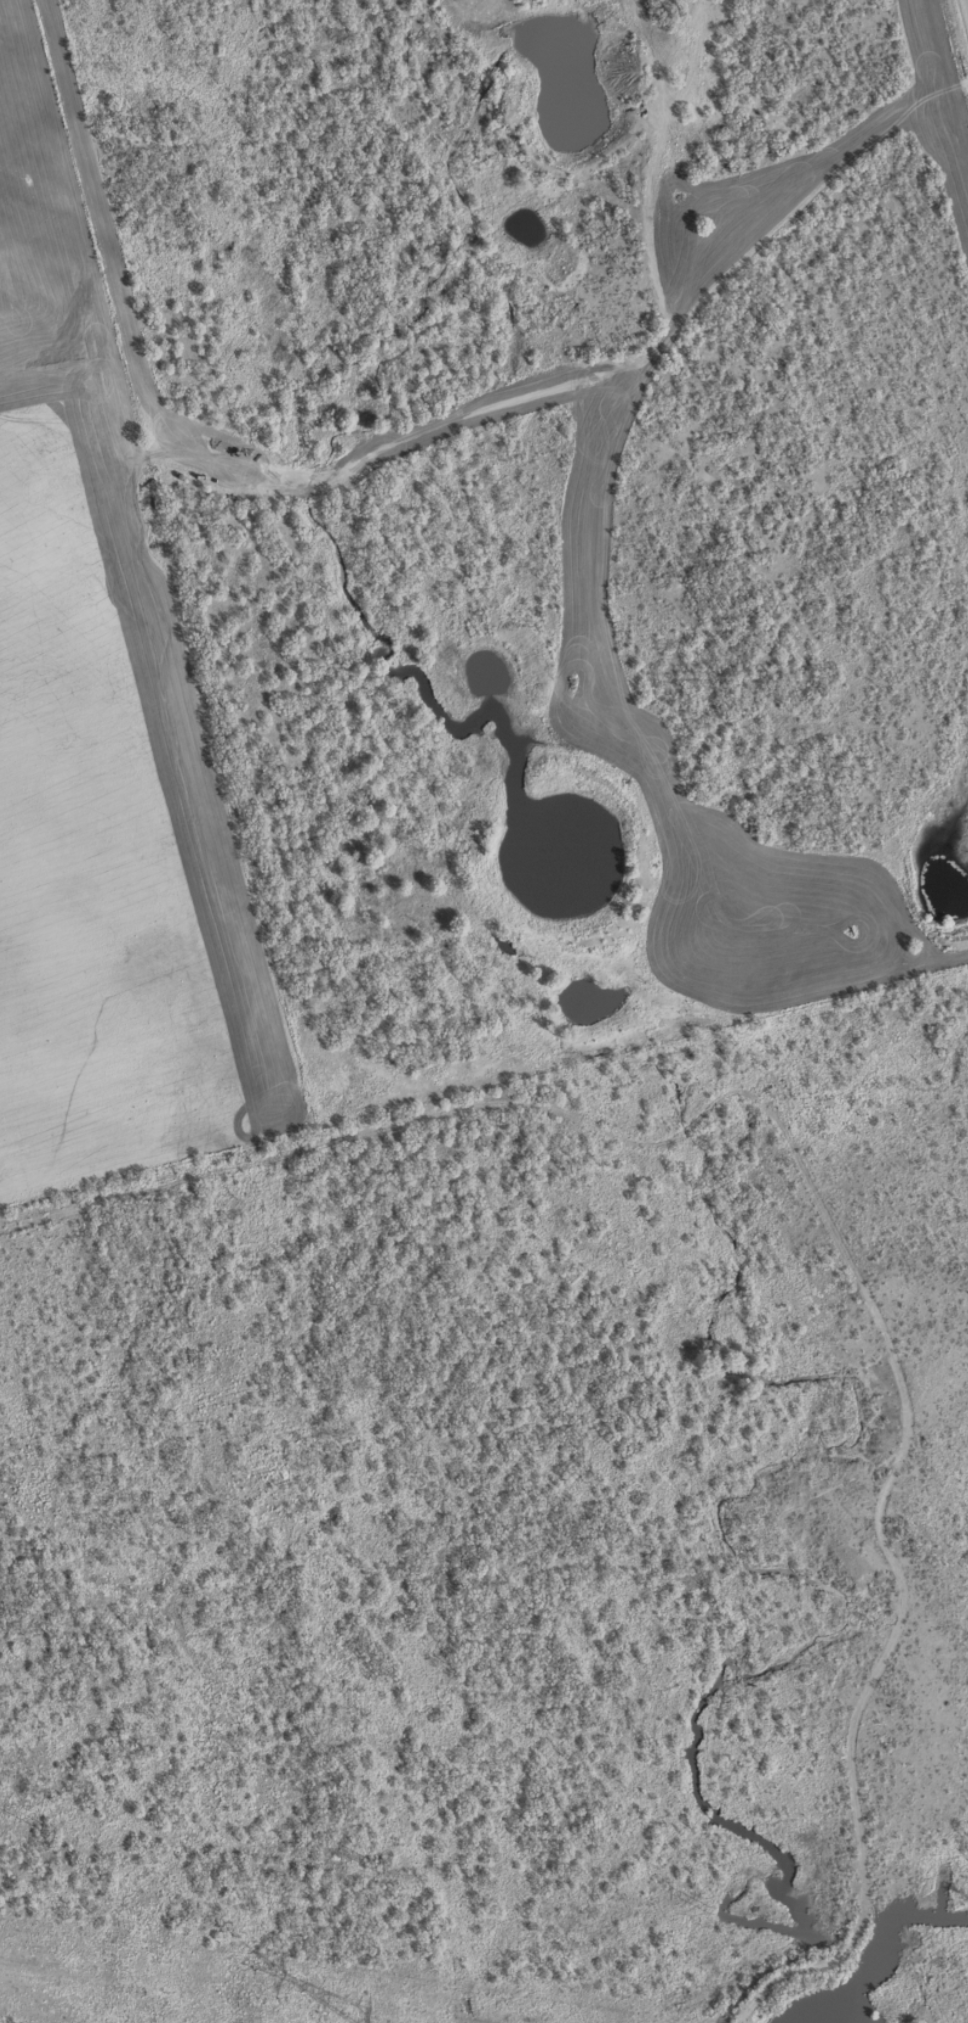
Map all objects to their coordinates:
road: (964, 13)
road: (594, 354)
power tower: (41, 1827)
power tower: (376, 1869)
power tower: (705, 1910)
power tower: (355, 2013)

